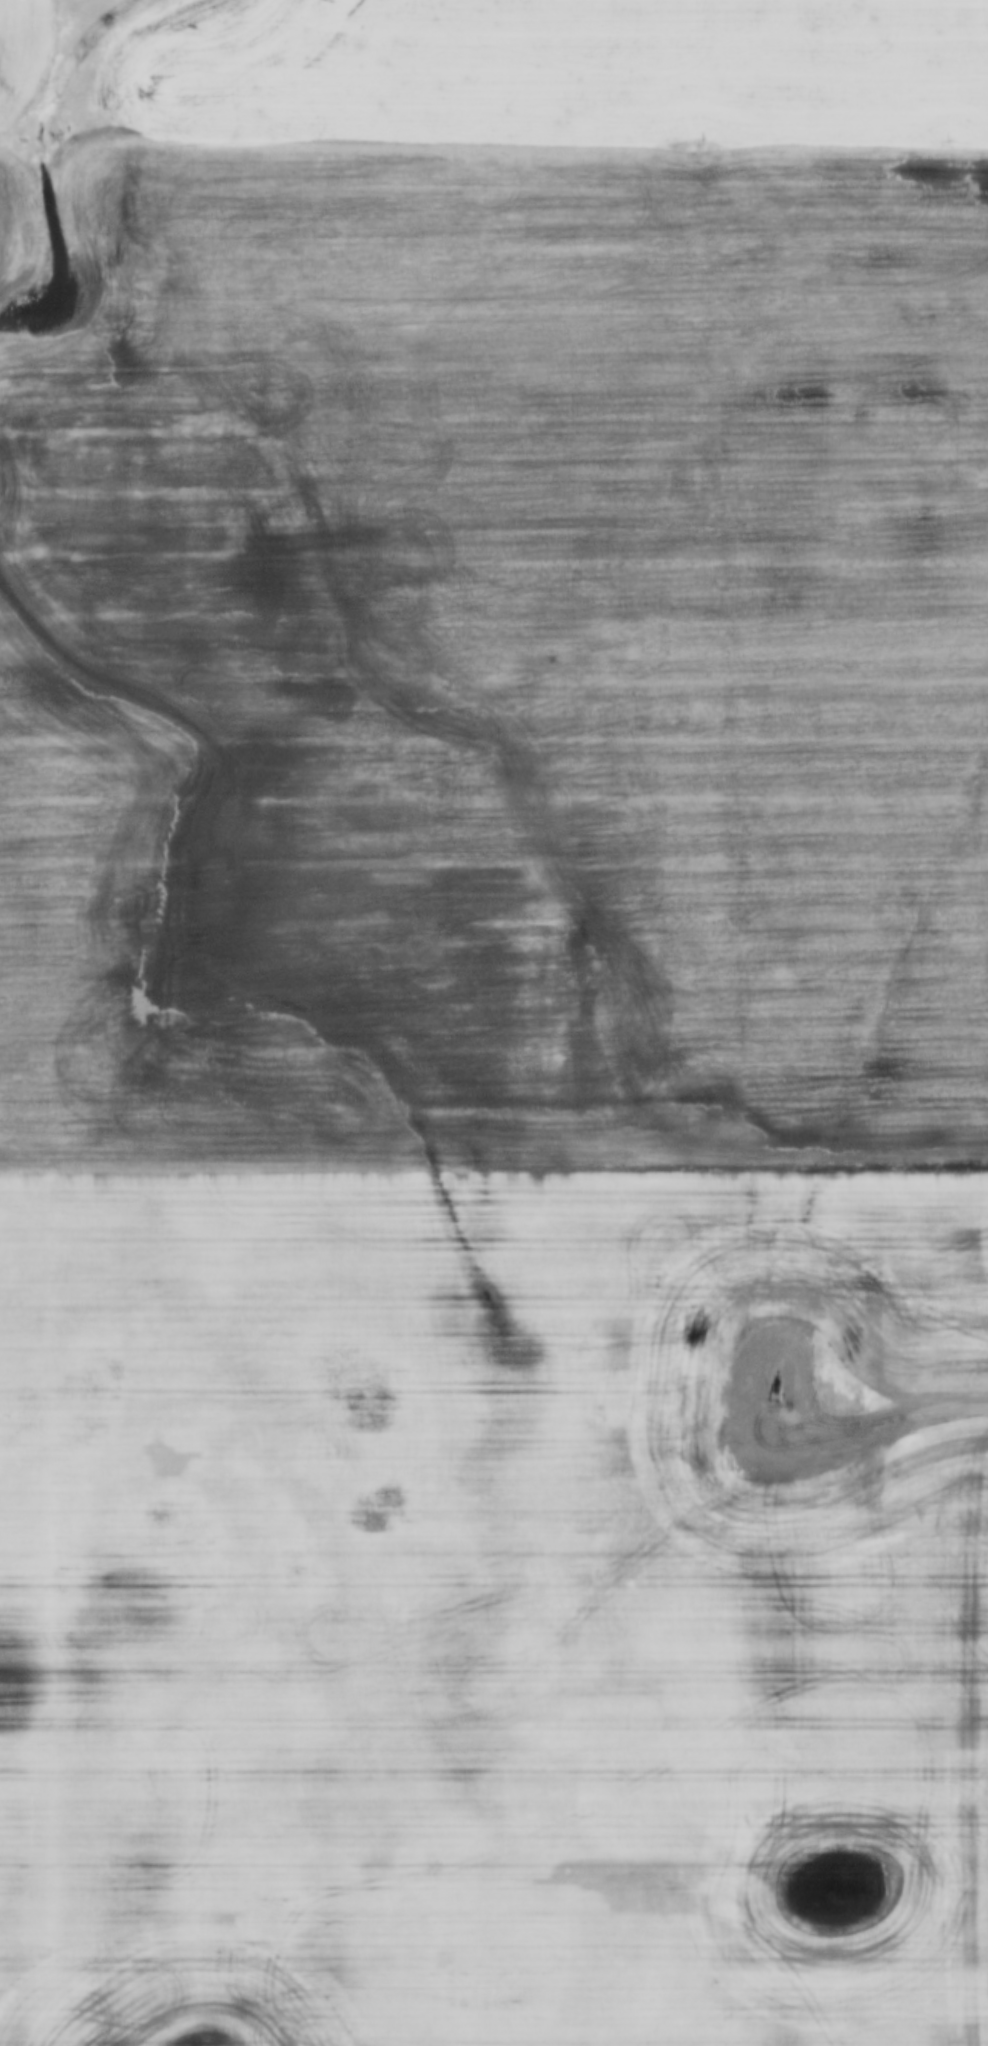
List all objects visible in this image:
road: (570, 1121)

